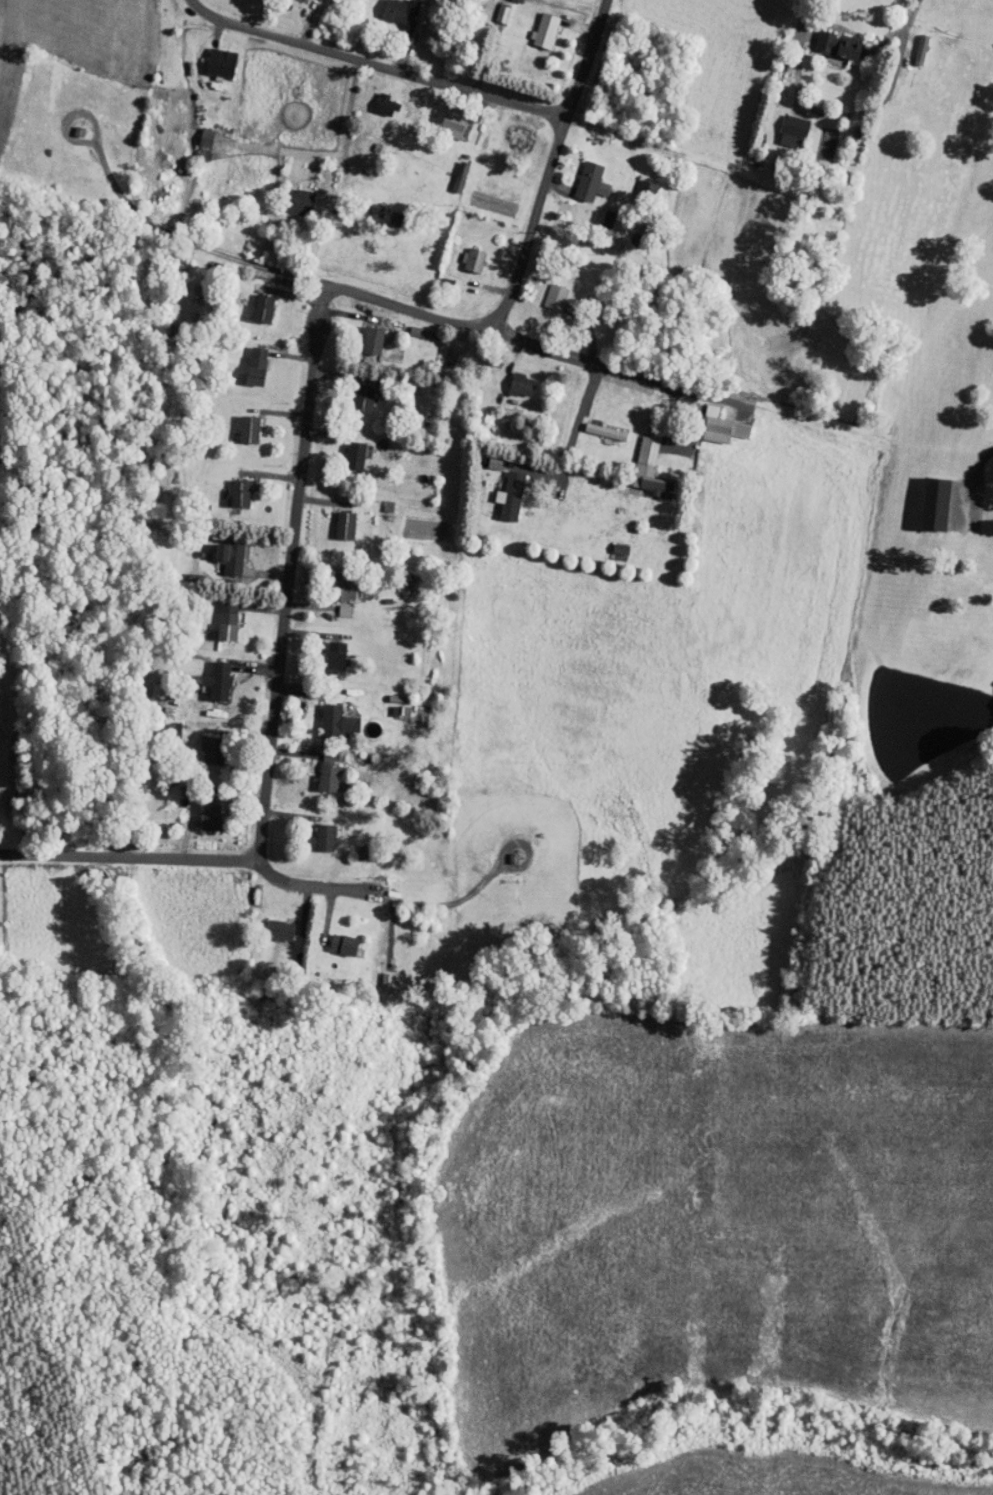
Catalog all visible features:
road: (207, 9)
building: (391, 11)
building: (535, 24)
building: (828, 38)
road: (696, 40)
building: (910, 43)
building: (210, 56)
road: (583, 59)
road: (385, 67)
building: (375, 98)
road: (844, 114)
building: (442, 115)
building: (783, 126)
building: (195, 132)
building: (508, 132)
building: (450, 170)
building: (580, 176)
building: (636, 179)
building: (288, 195)
road: (532, 224)
building: (463, 253)
road: (338, 282)
building: (545, 291)
building: (253, 302)
building: (408, 325)
building: (362, 334)
road: (542, 346)
building: (246, 360)
building: (511, 379)
building: (352, 393)
road: (701, 401)
building: (711, 421)
building: (239, 423)
building: (595, 425)
road: (574, 431)
building: (344, 449)
building: (637, 460)
building: (230, 487)
building: (500, 490)
building: (924, 498)
building: (335, 519)
building: (610, 542)
building: (220, 551)
road: (298, 571)
building: (333, 582)
building: (334, 605)
building: (217, 616)
building: (326, 649)
building: (208, 675)
building: (327, 717)
building: (318, 766)
building: (200, 811)
building: (315, 832)
road: (135, 859)
road: (319, 884)
building: (270, 924)
building: (333, 939)

